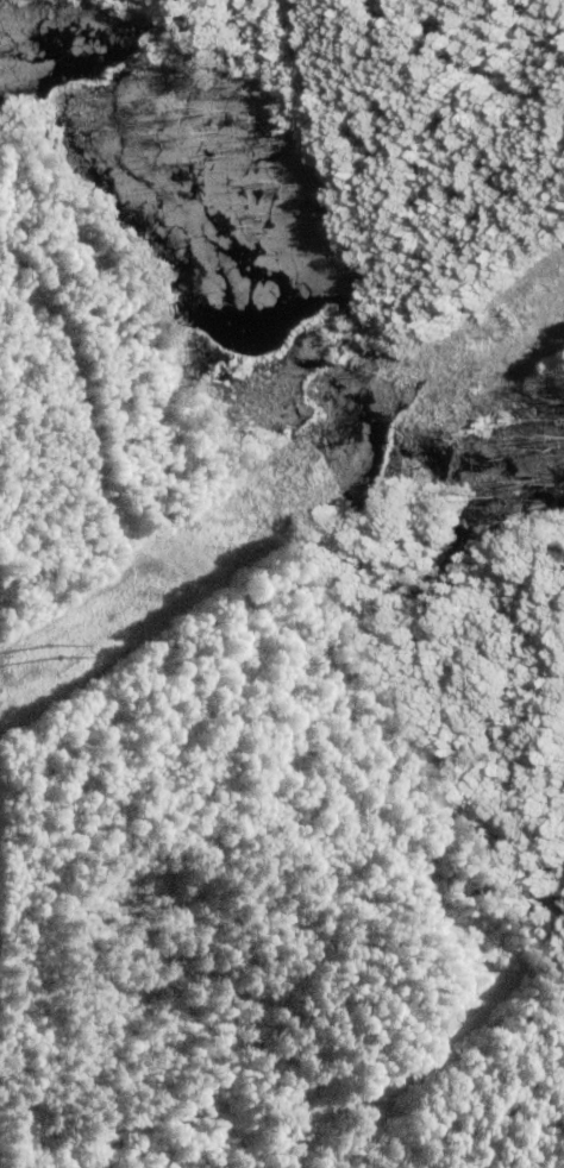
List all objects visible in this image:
road: (455, 1032)

